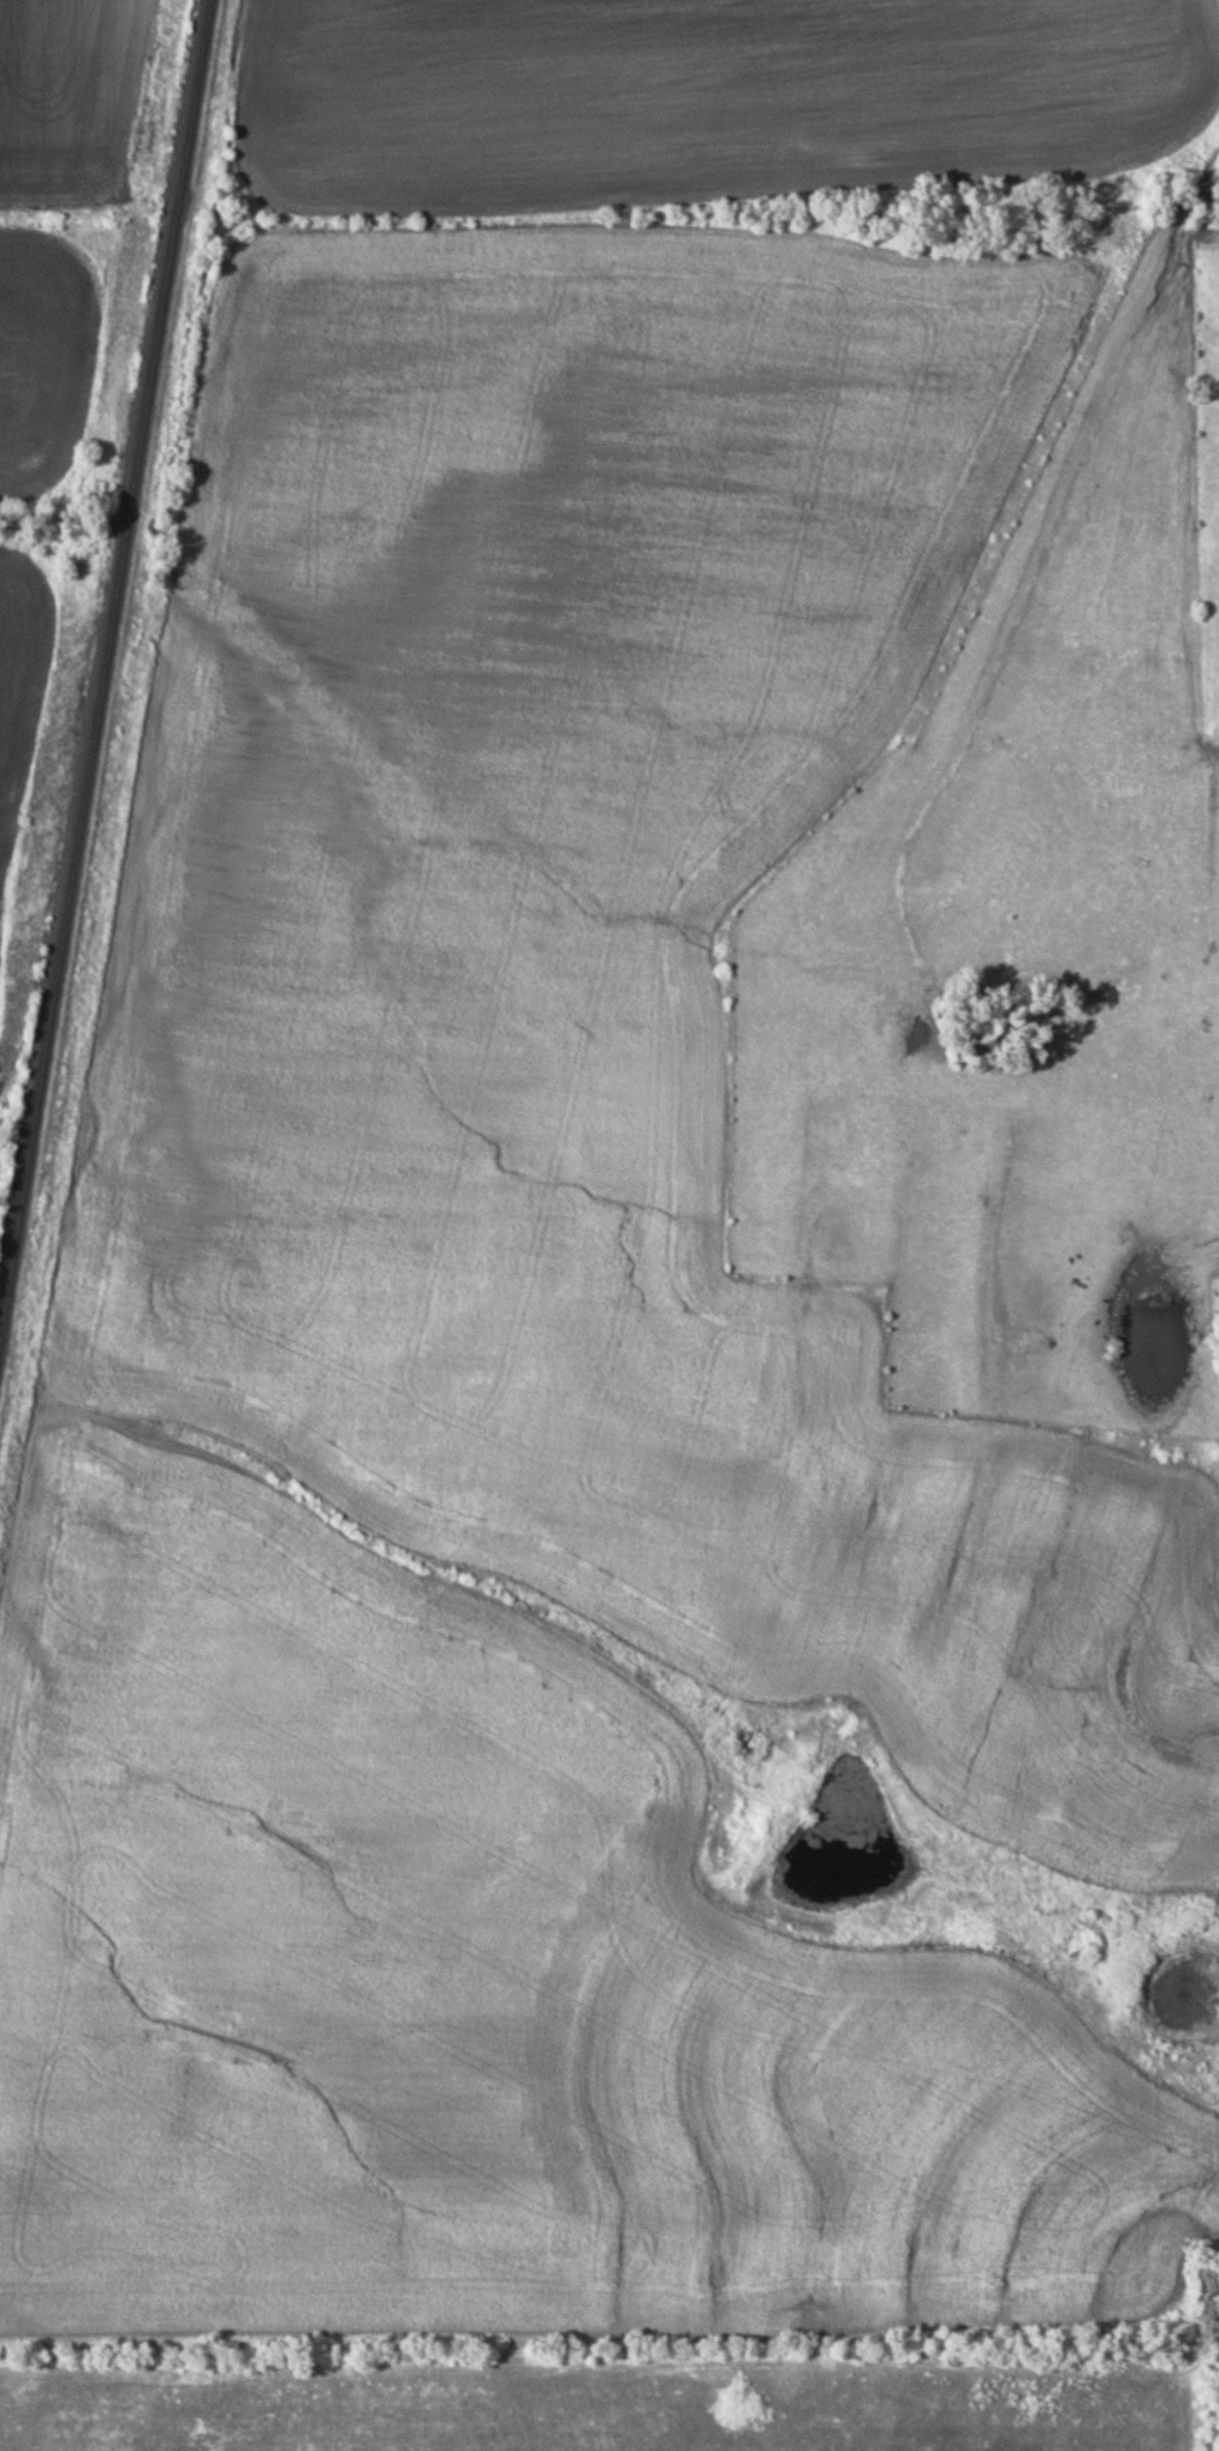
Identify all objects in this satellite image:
railway: (120, 734)

